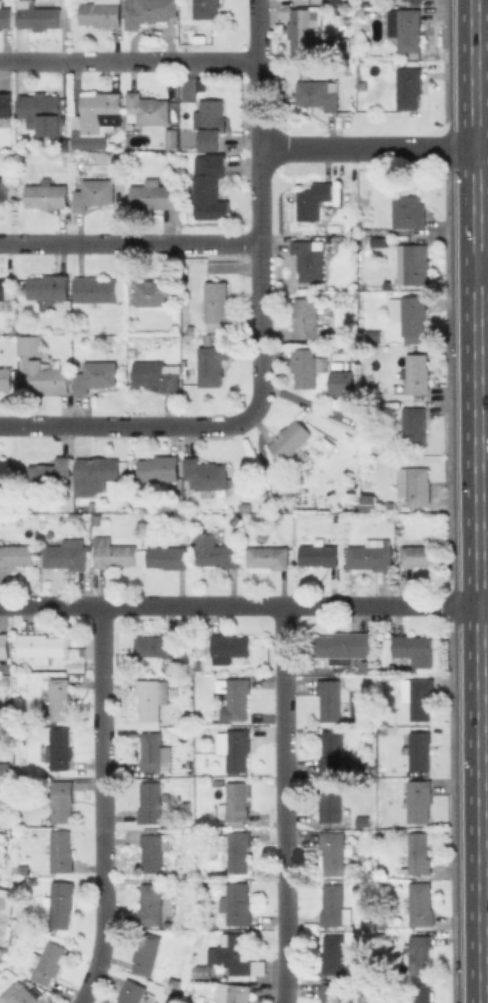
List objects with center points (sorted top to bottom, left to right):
building: (335, 0)
building: (207, 8)
building: (150, 11)
building: (101, 12)
building: (361, 12)
building: (4, 15)
building: (37, 15)
building: (405, 28)
building: (302, 31)
building: (199, 37)
road: (129, 60)
building: (409, 87)
building: (317, 93)
building: (41, 108)
building: (6, 109)
building: (147, 109)
building: (95, 119)
building: (212, 119)
building: (173, 138)
road: (367, 146)
building: (3, 188)
building: (211, 189)
building: (93, 192)
building: (46, 194)
building: (153, 194)
building: (313, 199)
road: (258, 211)
building: (409, 212)
building: (335, 228)
road: (129, 241)
building: (380, 243)
building: (309, 257)
building: (418, 264)
road: (482, 271)
building: (2, 288)
building: (49, 288)
building: (94, 289)
building: (159, 291)
building: (216, 304)
building: (414, 314)
building: (307, 318)
building: (174, 326)
building: (190, 327)
building: (375, 336)
building: (31, 344)
building: (211, 364)
building: (305, 367)
building: (416, 371)
building: (94, 374)
building: (156, 374)
building: (49, 377)
building: (7, 378)
building: (345, 381)
road: (123, 424)
building: (413, 426)
building: (290, 440)
building: (159, 468)
building: (4, 470)
building: (50, 473)
building: (95, 473)
building: (206, 473)
building: (417, 486)
building: (367, 501)
road: (477, 501)
building: (390, 505)
building: (242, 506)
building: (92, 507)
building: (74, 517)
road: (483, 517)
building: (96, 519)
building: (235, 521)
building: (400, 531)
building: (113, 552)
building: (218, 552)
building: (66, 554)
building: (319, 554)
building: (16, 555)
building: (167, 556)
building: (269, 556)
building: (370, 556)
building: (420, 556)
road: (239, 605)
road: (483, 613)
building: (158, 643)
building: (4, 644)
building: (231, 644)
building: (41, 645)
building: (346, 646)
building: (415, 647)
building: (4, 679)
building: (200, 686)
building: (151, 696)
building: (418, 696)
building: (58, 698)
building: (330, 698)
building: (236, 699)
building: (357, 704)
building: (188, 720)
road: (484, 734)
building: (60, 747)
building: (235, 747)
building: (417, 749)
building: (332, 751)
building: (156, 754)
building: (5, 766)
building: (235, 799)
building: (62, 800)
building: (150, 801)
building: (421, 801)
road: (285, 804)
building: (334, 804)
road: (100, 806)
building: (365, 817)
building: (62, 850)
building: (152, 851)
building: (236, 851)
building: (335, 851)
building: (419, 852)
road: (484, 859)
building: (21, 869)
building: (3, 897)
building: (60, 901)
building: (237, 903)
building: (150, 904)
building: (335, 904)
building: (423, 905)
building: (23, 916)
building: (382, 923)
building: (392, 934)
building: (147, 953)
building: (419, 953)
building: (334, 954)
building: (240, 957)
building: (50, 961)
building: (201, 971)
building: (168, 989)
building: (131, 991)
building: (232, 993)
building: (332, 993)
building: (421, 993)
building: (23, 996)
building: (195, 1002)

